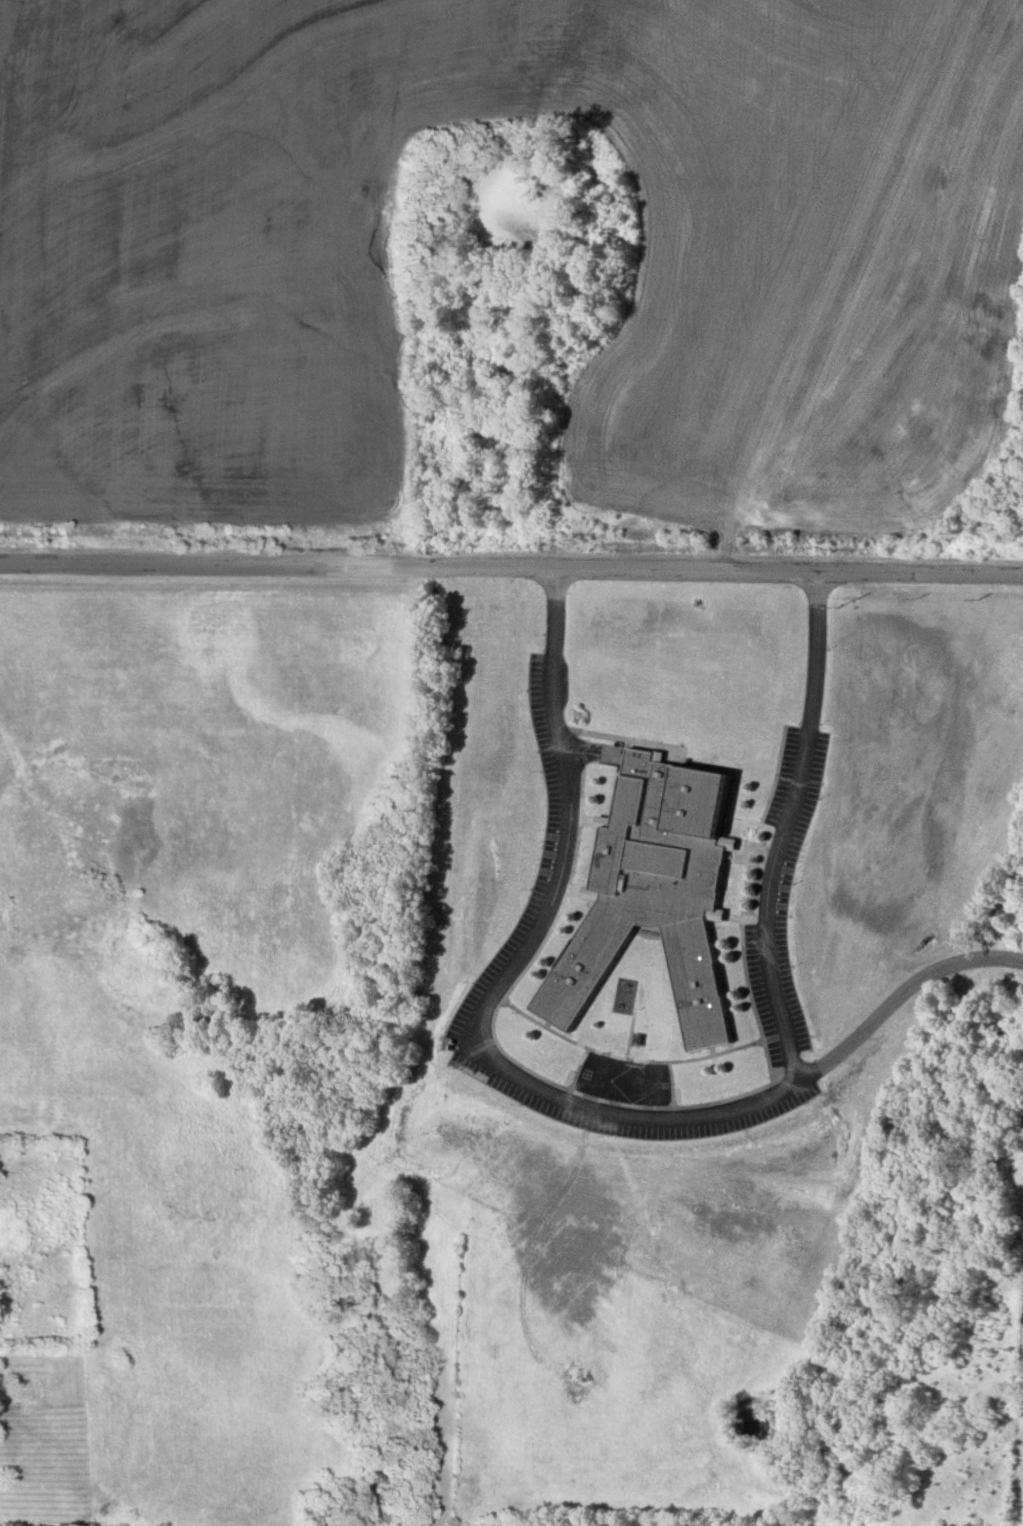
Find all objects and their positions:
crop: (824, 299)
road: (511, 567)
building: (656, 892)
road: (900, 993)
road: (643, 1114)
crop: (46, 1441)

